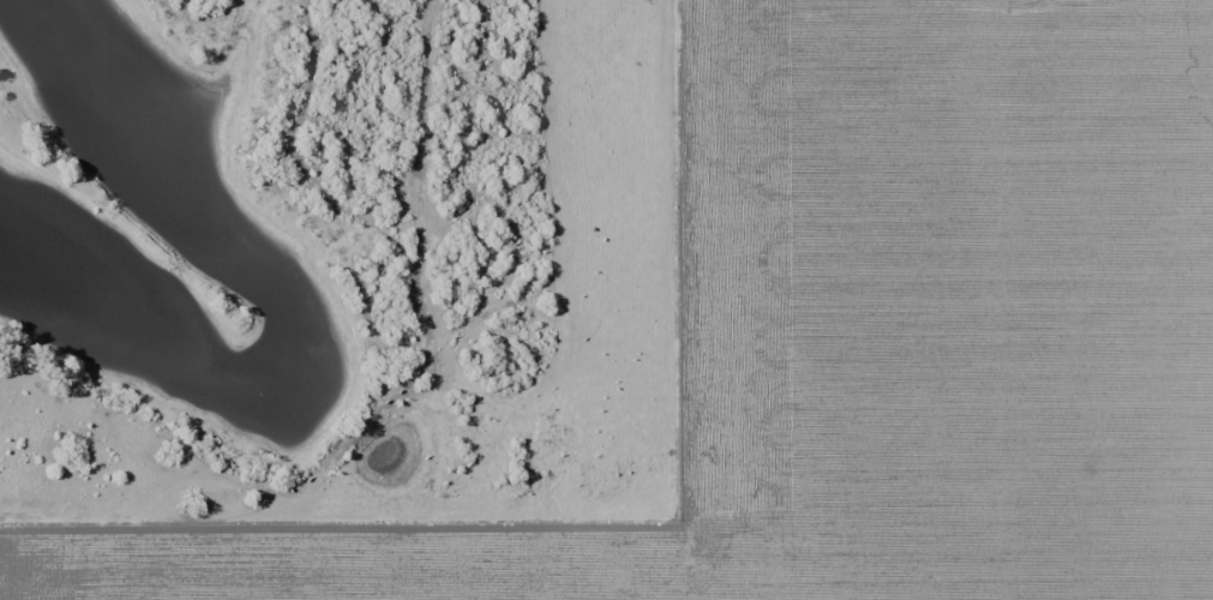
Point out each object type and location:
road: (948, 300)

